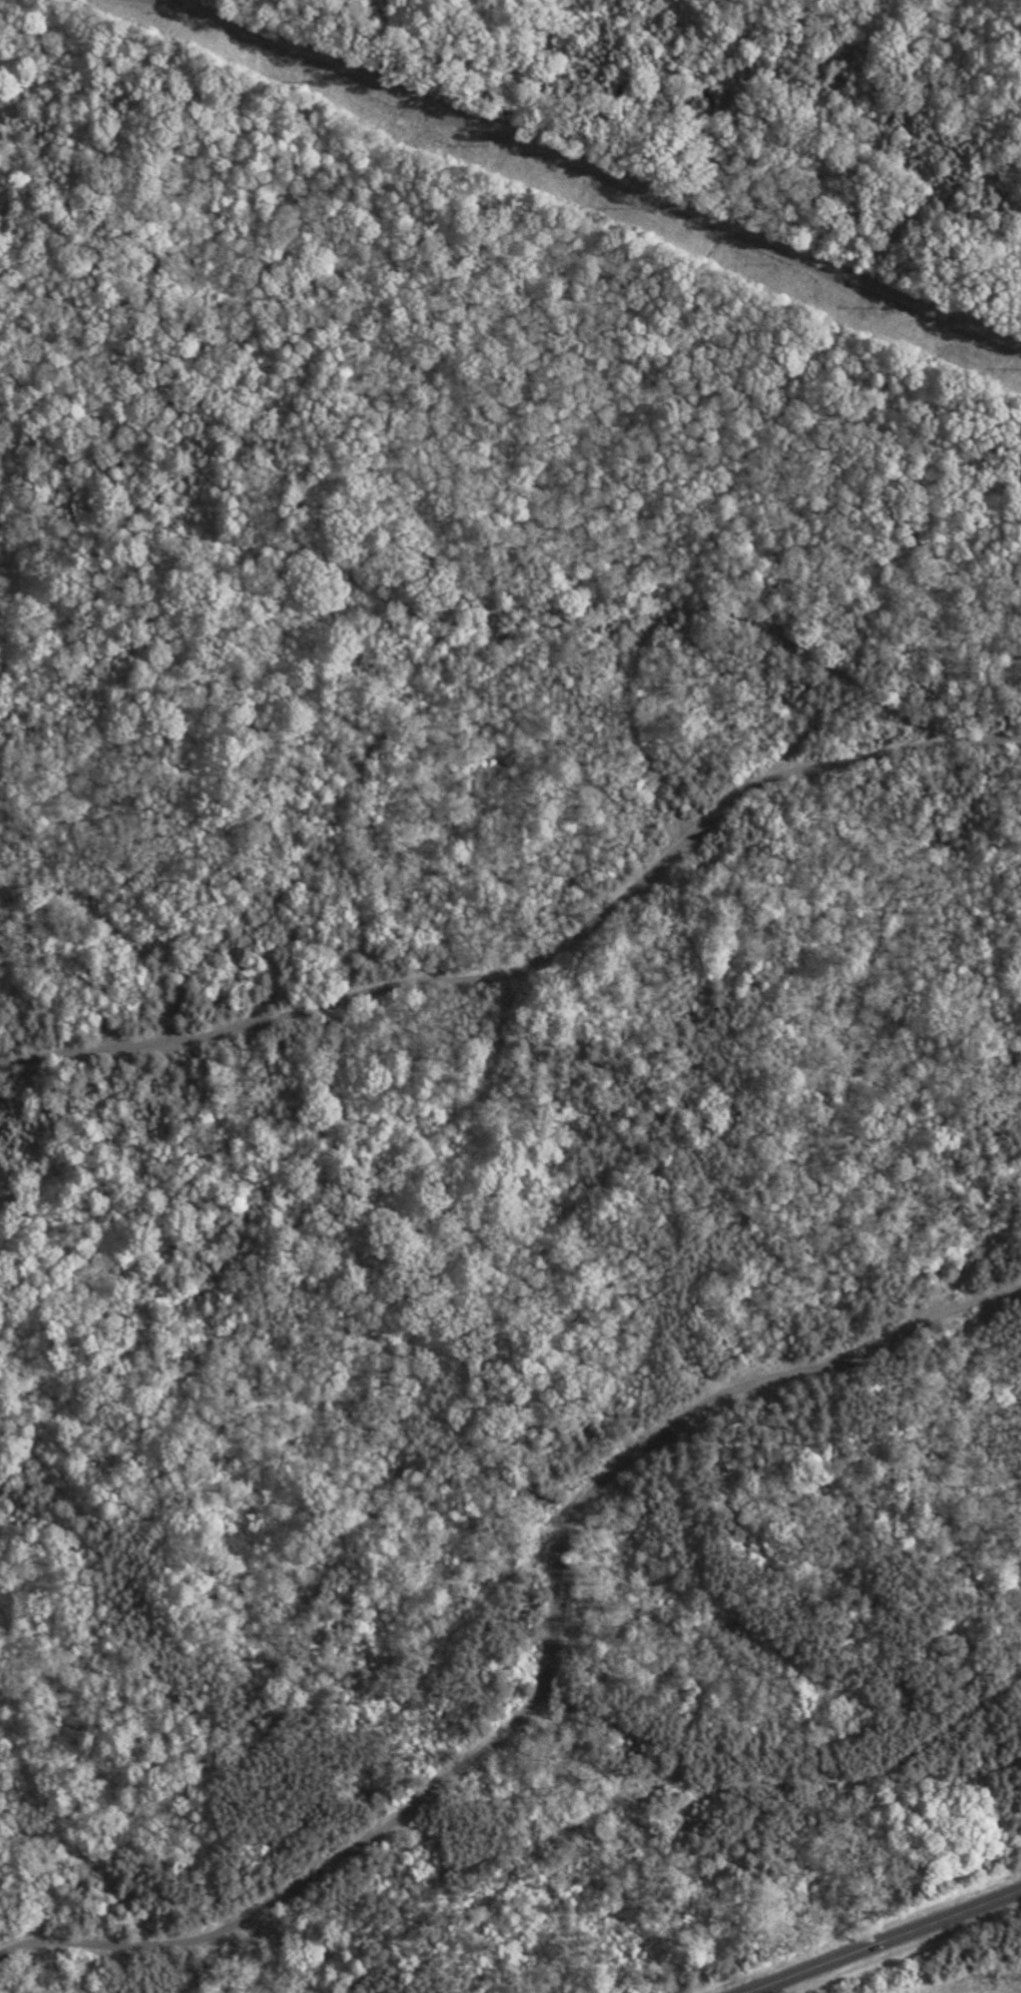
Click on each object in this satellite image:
road: (885, 1941)

